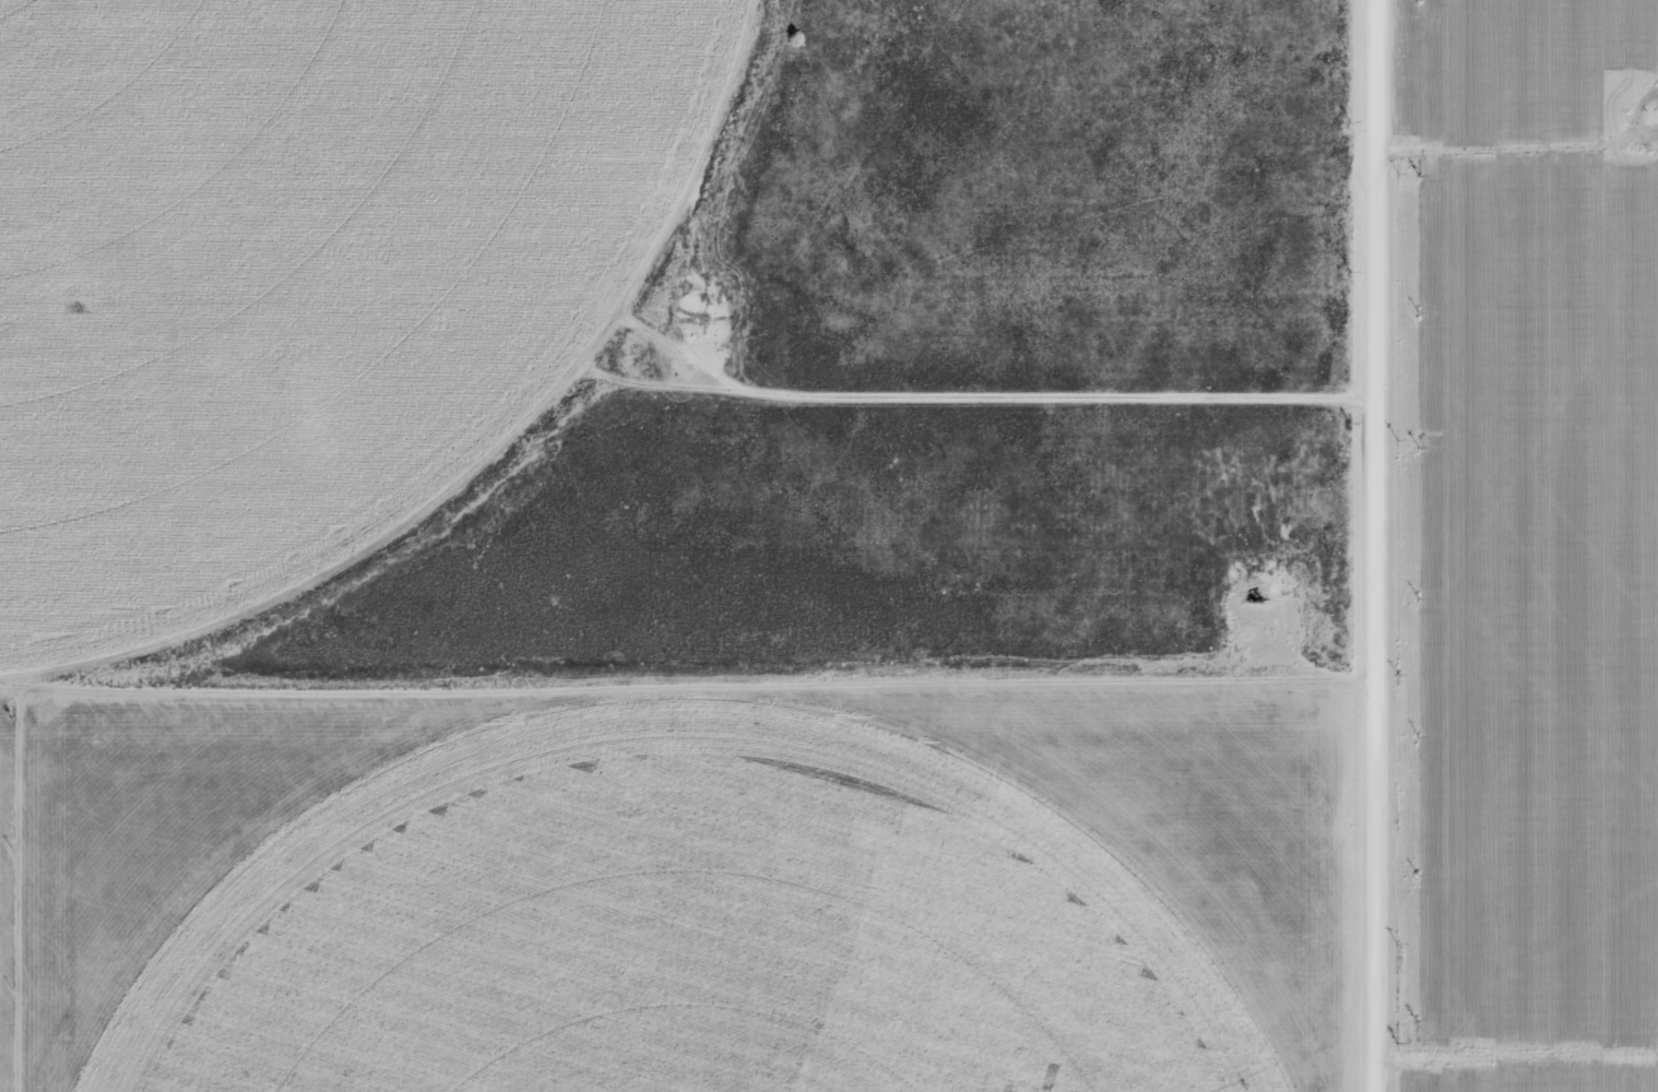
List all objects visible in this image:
road: (162, 330)
road: (1379, 546)
petroleum well: (1251, 600)
road: (689, 664)

